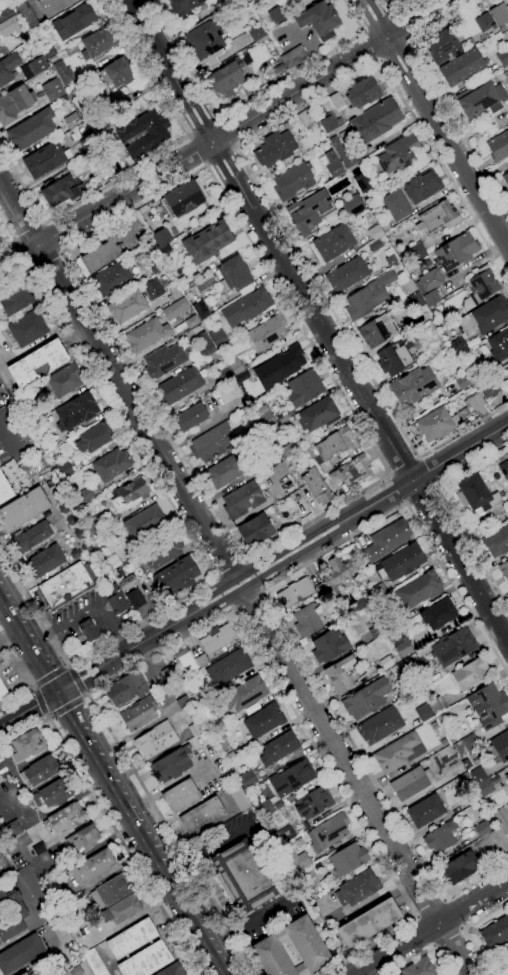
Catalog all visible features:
building: (402, 1)
building: (53, 6)
building: (183, 8)
road: (397, 12)
building: (5, 13)
building: (25, 14)
building: (276, 14)
building: (499, 14)
building: (319, 20)
building: (73, 22)
building: (484, 22)
road: (376, 24)
building: (8, 26)
road: (400, 30)
building: (254, 31)
building: (97, 43)
building: (205, 43)
road: (370, 47)
building: (442, 47)
building: (48, 53)
road: (394, 54)
building: (293, 57)
building: (503, 57)
building: (461, 67)
building: (8, 68)
building: (34, 68)
building: (278, 69)
building: (62, 72)
building: (116, 74)
building: (226, 78)
building: (52, 90)
road: (435, 91)
building: (362, 92)
building: (481, 99)
road: (247, 101)
building: (334, 102)
building: (14, 103)
road: (436, 119)
building: (71, 121)
building: (375, 121)
building: (329, 122)
building: (92, 127)
road: (202, 128)
building: (31, 130)
building: (142, 133)
road: (226, 133)
road: (224, 135)
building: (87, 143)
building: (498, 147)
building: (275, 148)
building: (339, 150)
road: (195, 151)
building: (398, 154)
road: (220, 157)
building: (45, 159)
road: (146, 161)
building: (94, 162)
building: (332, 164)
road: (247, 167)
building: (505, 179)
building: (293, 181)
building: (362, 183)
building: (421, 186)
building: (60, 191)
building: (183, 199)
building: (353, 205)
building: (396, 205)
building: (309, 212)
building: (438, 217)
road: (7, 227)
road: (29, 232)
building: (375, 232)
road: (52, 237)
building: (160, 238)
road: (273, 239)
building: (206, 242)
building: (332, 243)
road: (7, 245)
building: (375, 246)
building: (165, 250)
building: (417, 251)
building: (456, 252)
building: (101, 254)
road: (22, 255)
building: (389, 259)
road: (46, 261)
building: (234, 274)
building: (346, 275)
road: (15, 277)
building: (111, 279)
building: (430, 280)
building: (482, 285)
building: (153, 289)
building: (405, 289)
building: (173, 294)
building: (368, 296)
building: (16, 299)
building: (431, 299)
building: (416, 300)
building: (127, 306)
building: (246, 307)
building: (175, 310)
building: (200, 310)
building: (485, 316)
building: (192, 321)
building: (27, 329)
building: (377, 330)
building: (267, 332)
building: (146, 335)
building: (218, 337)
building: (205, 345)
building: (498, 345)
building: (458, 346)
building: (395, 357)
building: (163, 361)
building: (287, 362)
building: (37, 363)
building: (507, 363)
building: (236, 367)
building: (249, 372)
building: (222, 374)
road: (118, 379)
building: (63, 381)
building: (463, 382)
building: (179, 386)
building: (413, 386)
building: (303, 387)
building: (487, 387)
building: (471, 405)
building: (260, 410)
building: (75, 412)
building: (317, 415)
building: (190, 417)
building: (266, 420)
building: (435, 424)
building: (255, 427)
building: (96, 437)
road: (8, 440)
building: (211, 443)
building: (333, 444)
building: (286, 452)
road: (461, 452)
road: (402, 462)
building: (111, 464)
road: (472, 464)
building: (32, 466)
building: (325, 467)
building: (63, 469)
building: (504, 469)
building: (351, 471)
building: (224, 472)
road: (426, 472)
building: (290, 485)
building: (316, 487)
building: (4, 490)
road: (397, 490)
building: (130, 494)
building: (476, 495)
building: (84, 496)
road: (421, 496)
road: (165, 497)
building: (241, 500)
building: (22, 509)
building: (144, 523)
road: (325, 524)
building: (255, 531)
building: (32, 537)
road: (332, 537)
building: (387, 540)
building: (497, 542)
road: (472, 547)
building: (160, 553)
road: (245, 560)
road: (461, 560)
building: (44, 562)
building: (402, 562)
road: (229, 570)
building: (504, 570)
building: (93, 573)
building: (177, 576)
building: (335, 577)
building: (128, 583)
building: (66, 585)
building: (419, 590)
road: (214, 591)
building: (379, 591)
building: (294, 593)
building: (134, 599)
road: (246, 599)
road: (219, 600)
building: (116, 601)
road: (14, 602)
building: (360, 604)
road: (33, 607)
road: (85, 609)
road: (2, 611)
building: (438, 614)
road: (278, 619)
building: (306, 620)
building: (88, 630)
building: (375, 632)
road: (8, 636)
road: (27, 636)
building: (216, 639)
road: (143, 640)
road: (45, 645)
building: (329, 646)
building: (453, 647)
road: (27, 648)
building: (403, 648)
building: (184, 660)
building: (201, 661)
building: (386, 662)
road: (14, 663)
road: (67, 665)
building: (227, 668)
road: (81, 672)
building: (341, 674)
building: (470, 674)
road: (50, 677)
road: (74, 680)
road: (85, 680)
road: (69, 685)
traffic signals: (69, 685)
building: (408, 686)
road: (31, 687)
road: (64, 687)
building: (126, 689)
road: (280, 689)
building: (3, 691)
traffic signals: (54, 694)
road: (84, 694)
building: (243, 694)
road: (14, 695)
building: (365, 698)
road: (40, 701)
building: (182, 702)
road: (65, 704)
building: (437, 706)
building: (488, 706)
road: (63, 710)
road: (27, 711)
building: (423, 713)
building: (138, 714)
road: (47, 717)
building: (263, 721)
road: (93, 725)
building: (379, 726)
building: (434, 726)
building: (196, 728)
road: (23, 732)
building: (155, 740)
road: (89, 744)
building: (465, 744)
building: (27, 745)
building: (498, 748)
building: (279, 749)
building: (395, 753)
building: (1, 759)
building: (465, 764)
building: (171, 765)
building: (39, 772)
building: (477, 775)
building: (506, 777)
building: (292, 778)
building: (1, 780)
building: (247, 780)
road: (357, 781)
building: (411, 783)
road: (169, 785)
building: (484, 788)
building: (55, 793)
building: (181, 796)
building: (238, 797)
building: (313, 803)
building: (265, 808)
building: (425, 811)
building: (202, 817)
building: (65, 819)
building: (501, 819)
building: (481, 829)
building: (327, 833)
road: (171, 834)
building: (282, 836)
road: (117, 837)
building: (440, 837)
building: (82, 840)
building: (491, 842)
building: (38, 848)
road: (146, 851)
road: (160, 853)
building: (293, 859)
building: (348, 859)
building: (3, 864)
building: (92, 867)
building: (460, 868)
building: (242, 877)
building: (32, 885)
building: (49, 887)
building: (357, 889)
building: (110, 892)
road: (430, 908)
building: (121, 910)
road: (453, 914)
building: (17, 917)
road: (252, 918)
building: (369, 923)
road: (429, 927)
road: (462, 929)
building: (60, 931)
road: (422, 932)
building: (495, 932)
road: (446, 938)
building: (131, 939)
building: (305, 942)
road: (367, 946)
road: (421, 952)
building: (20, 954)
building: (145, 961)
building: (506, 961)
building: (94, 963)
road: (192, 965)
road: (231, 965)
road: (222, 966)
building: (418, 968)
building: (82, 970)
building: (171, 970)
building: (36, 973)
building: (24, 974)

